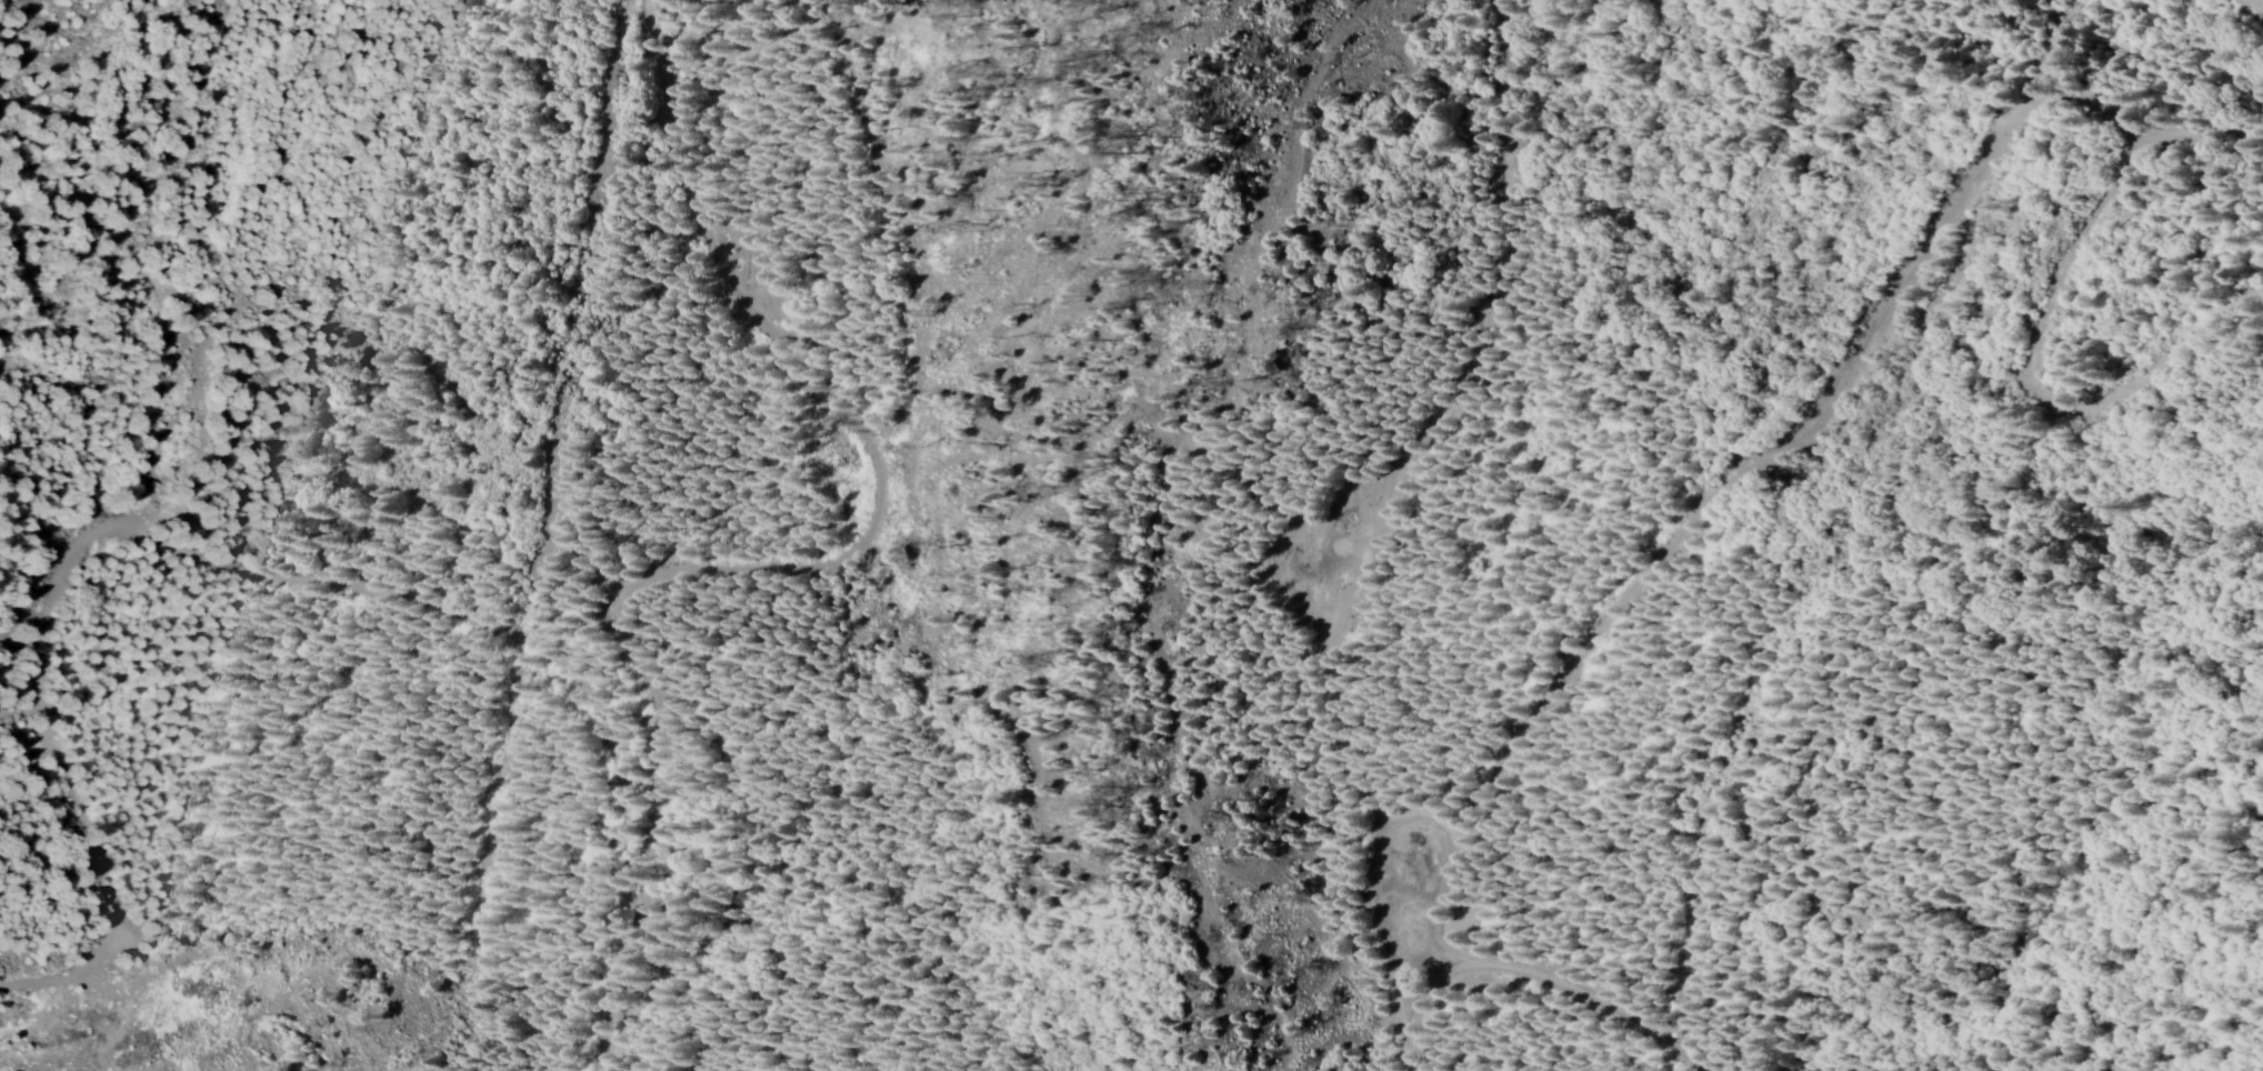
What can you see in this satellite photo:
road: (1522, 977)

